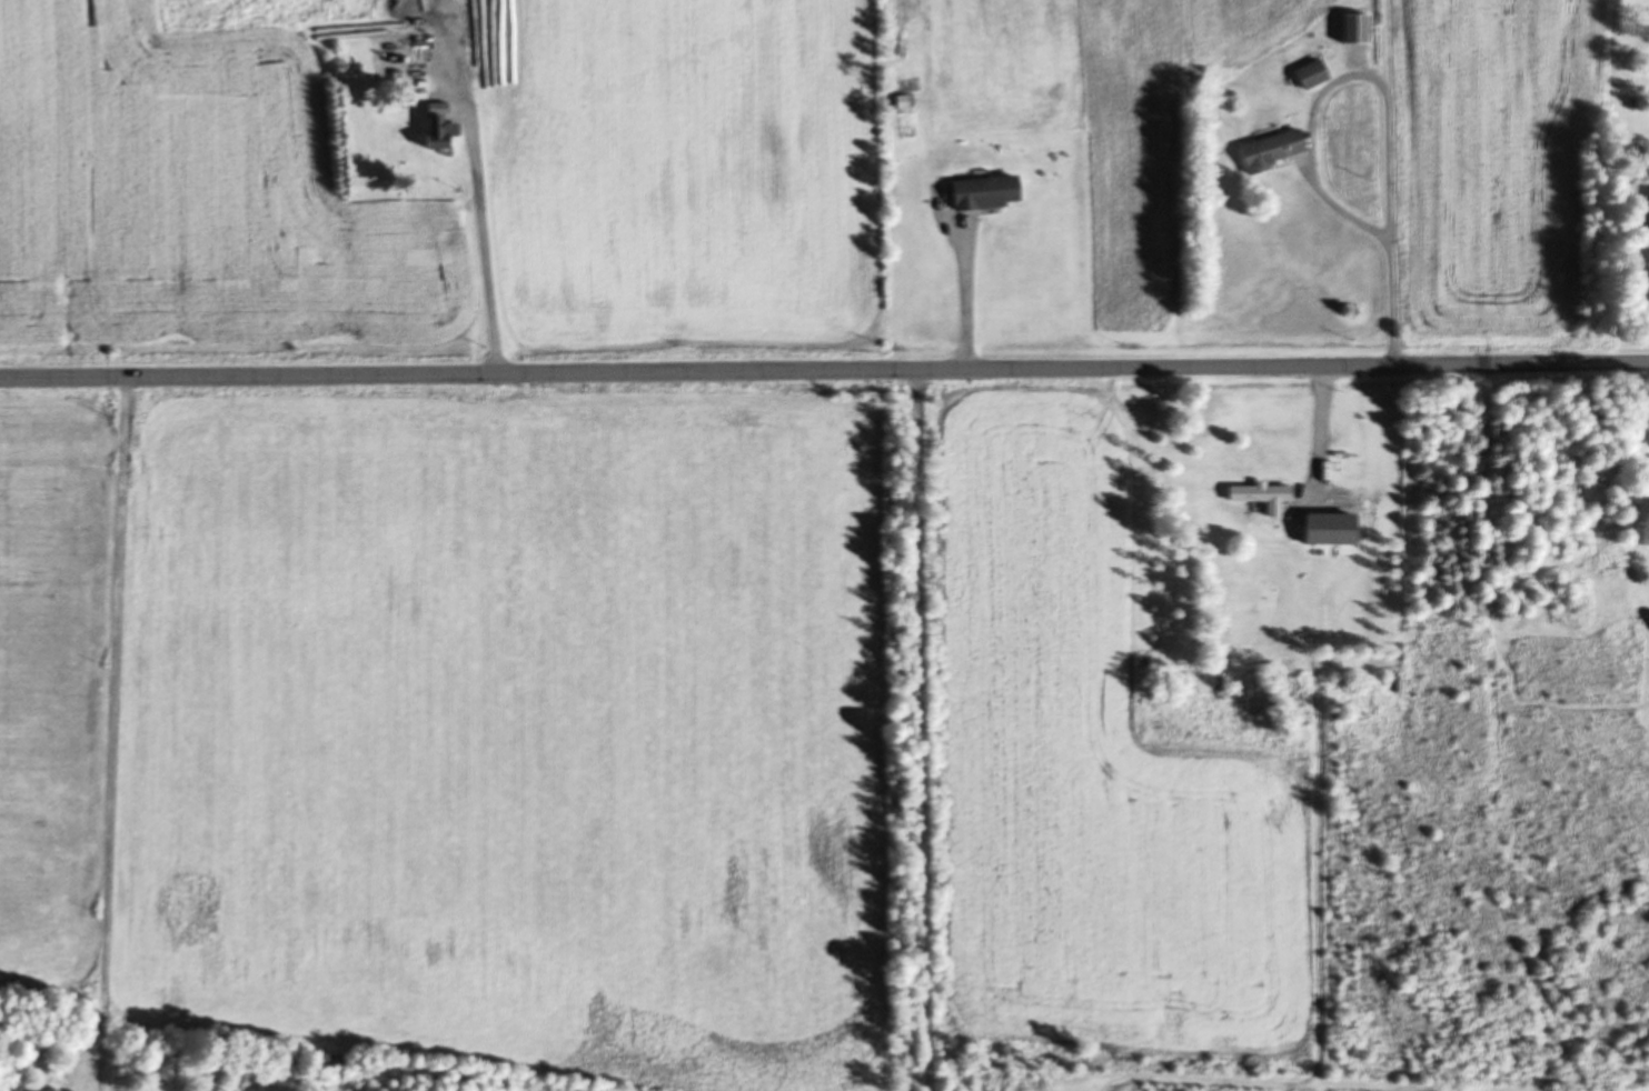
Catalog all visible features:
building: (1361, 29)
building: (1320, 73)
road: (1389, 94)
building: (443, 134)
building: (1280, 150)
building: (992, 192)
building: (1646, 208)
road: (824, 369)
road: (1315, 428)
building: (1271, 493)
building: (1338, 527)
road: (118, 733)

